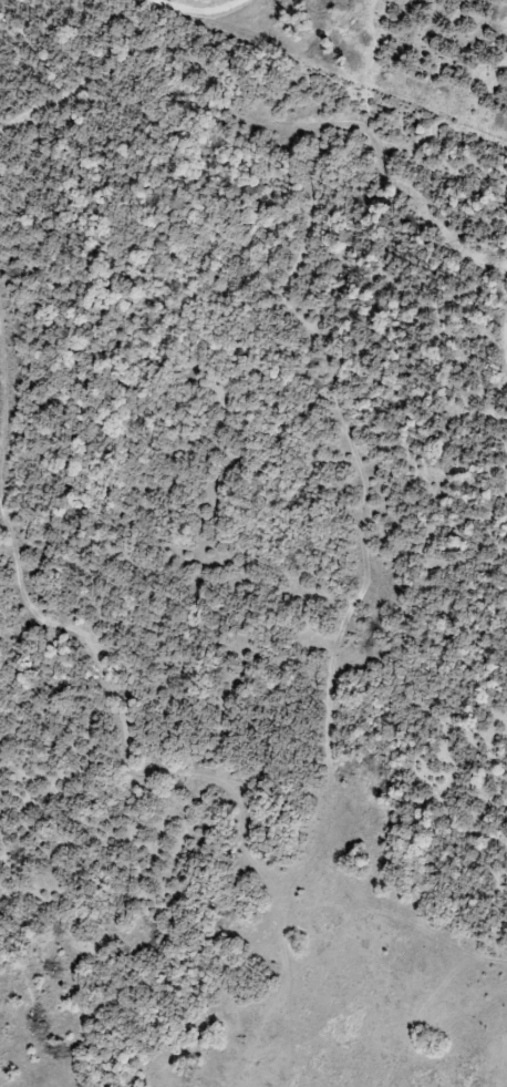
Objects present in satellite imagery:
road: (477, 4)
road: (302, 612)

